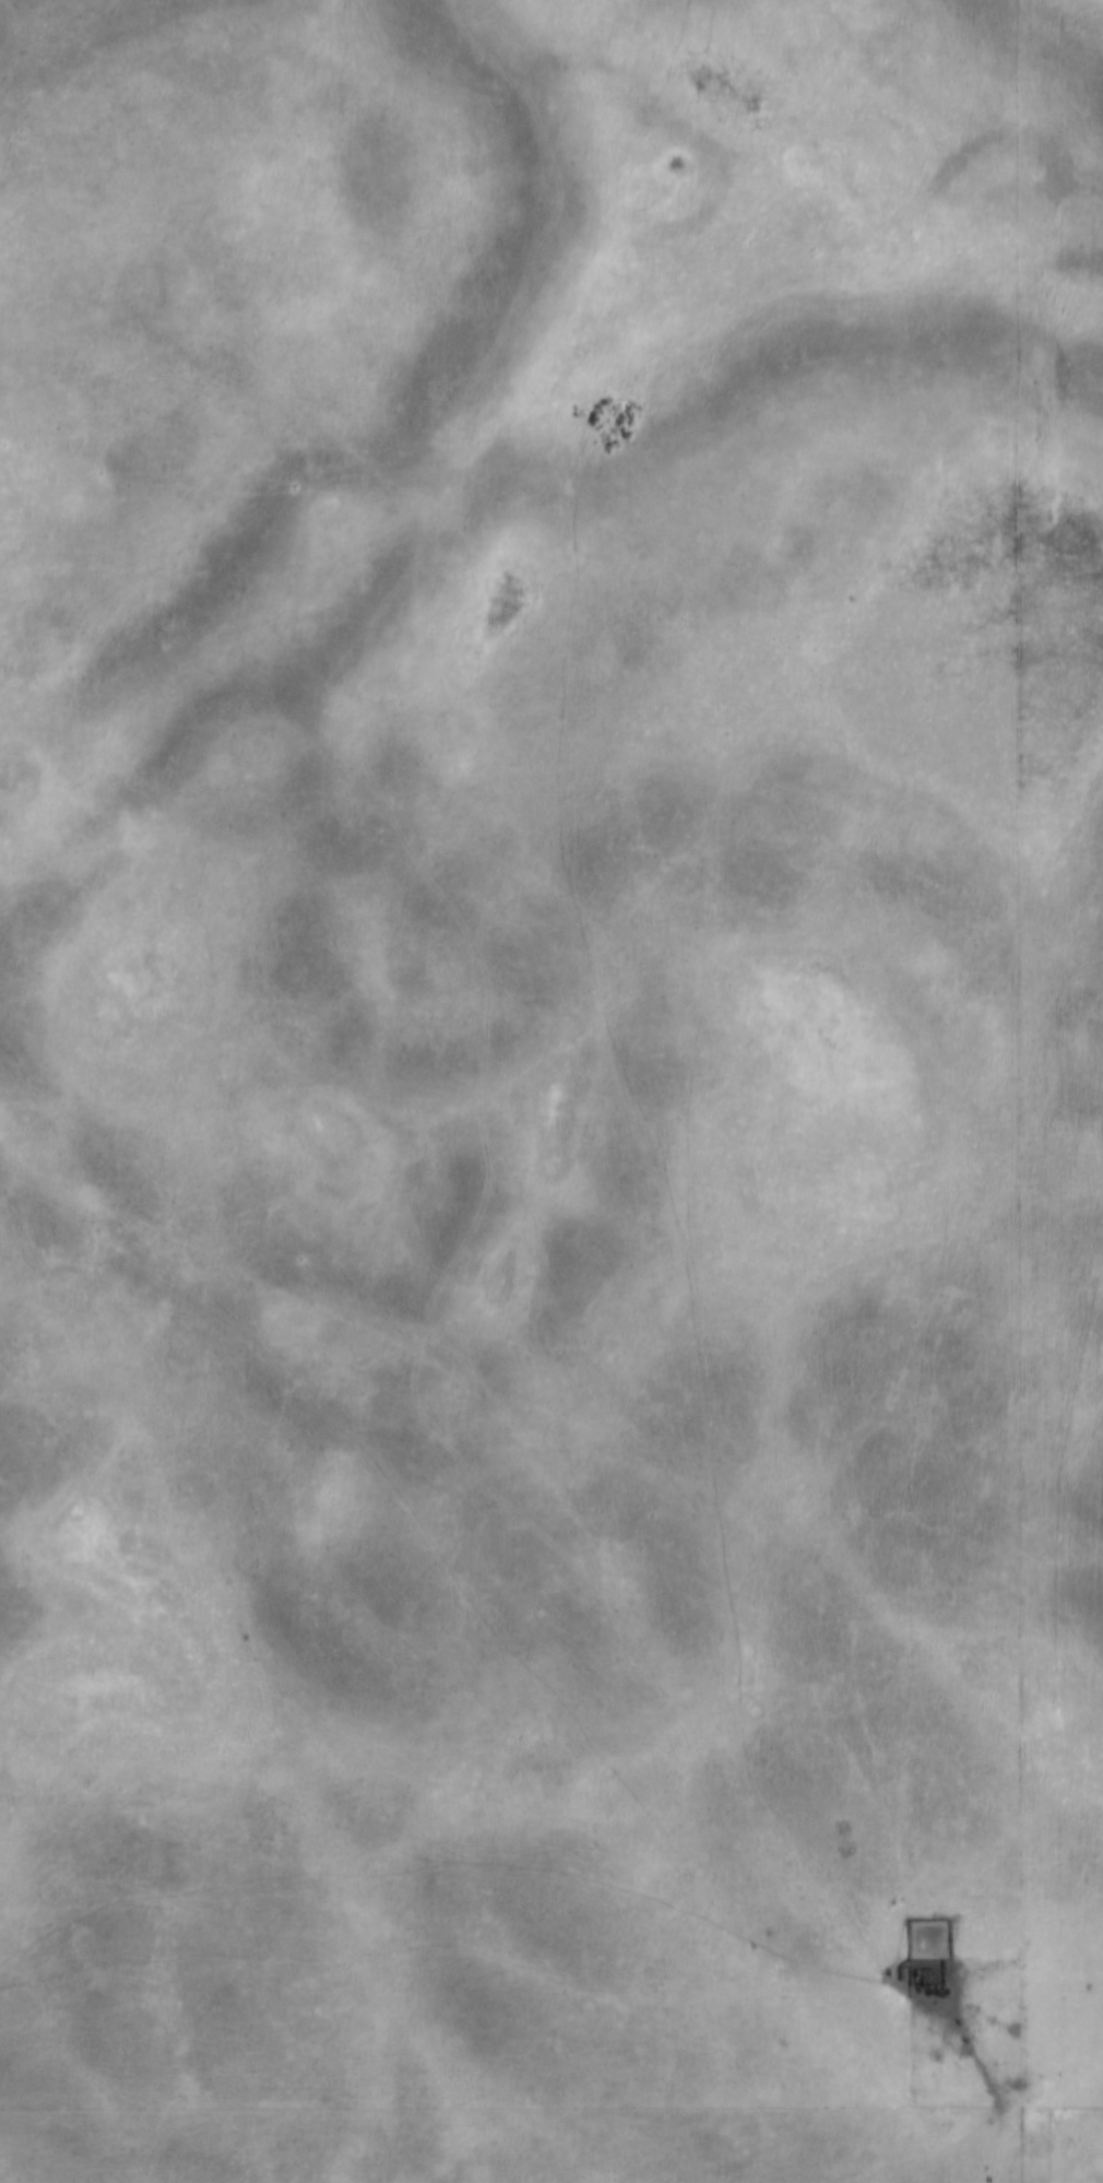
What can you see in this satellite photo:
road: (847, 2179)

